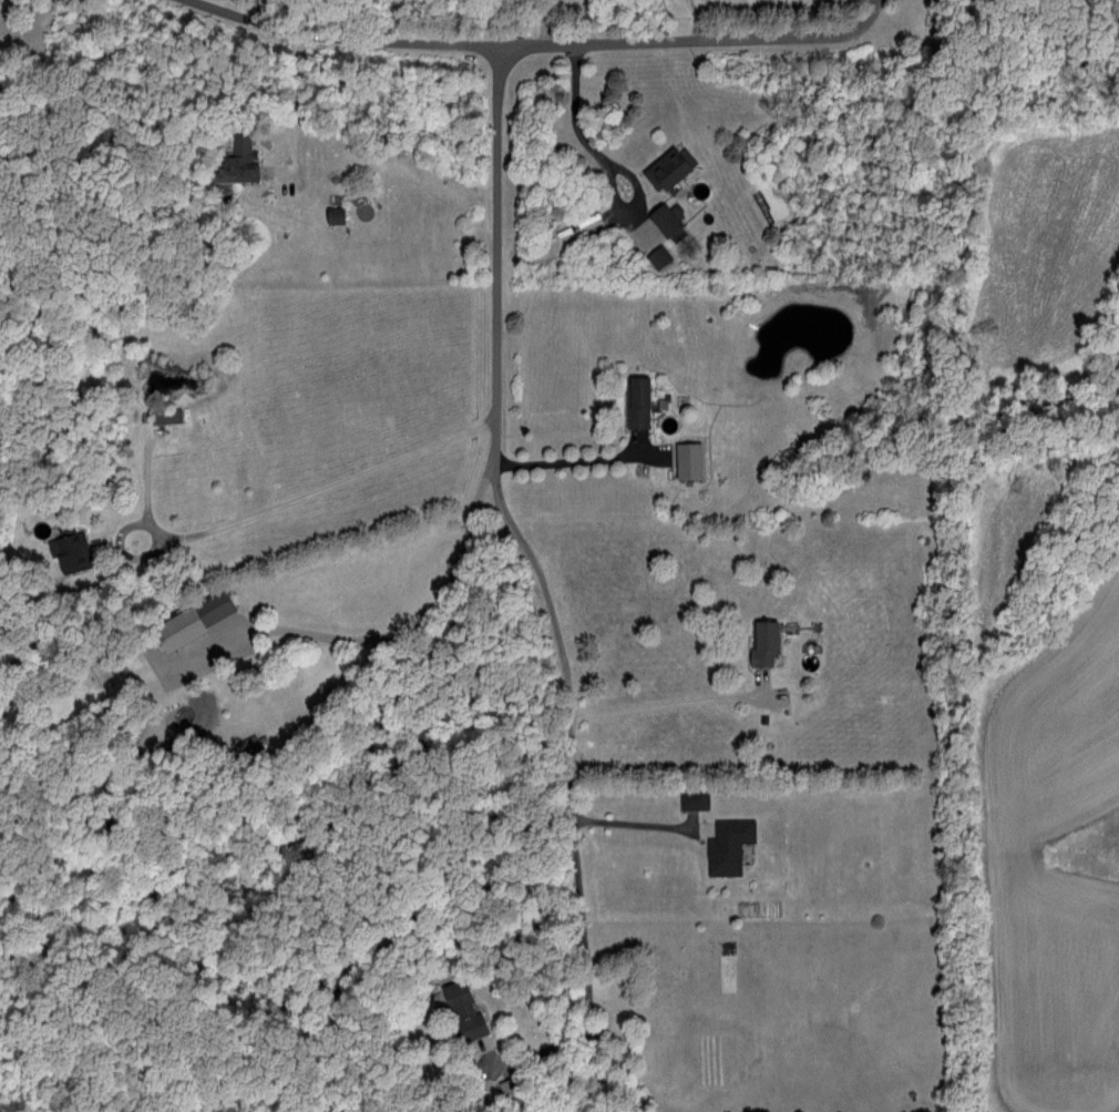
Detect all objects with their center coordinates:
road: (171, 4)
road: (538, 10)
road: (551, 10)
road: (254, 17)
road: (547, 35)
road: (536, 50)
road: (298, 126)
road: (581, 132)
building: (235, 161)
building: (665, 166)
building: (329, 214)
building: (663, 222)
building: (655, 255)
building: (635, 400)
building: (684, 459)
road: (567, 472)
road: (146, 480)
road: (300, 500)
building: (68, 548)
road: (542, 593)
building: (187, 619)
road: (398, 636)
building: (759, 642)
road: (673, 708)
building: (689, 797)
road: (636, 827)
building: (725, 845)
building: (460, 1011)

